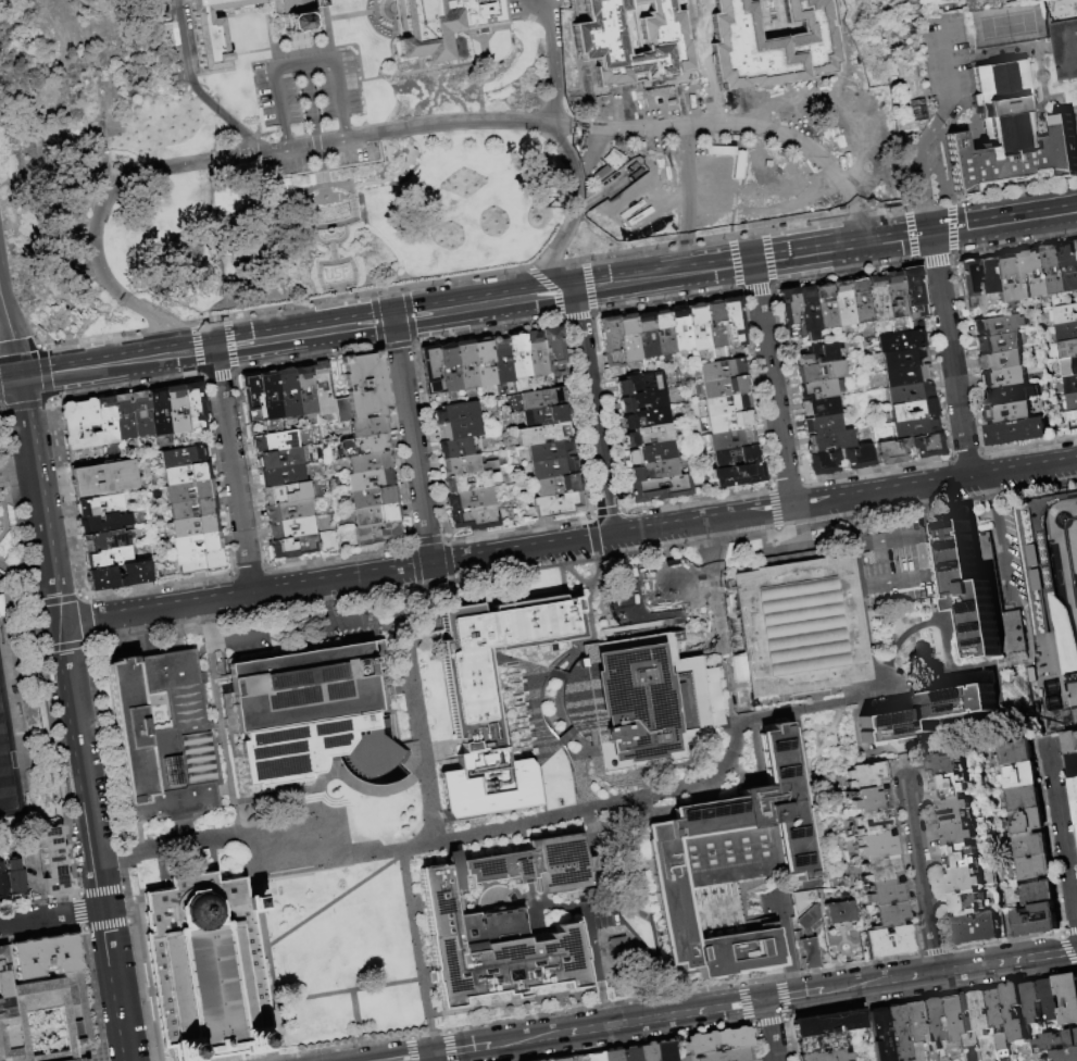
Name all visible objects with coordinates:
building: (915, 0)
building: (325, 3)
parking lot: (513, 11)
road: (504, 14)
road: (350, 15)
road: (378, 20)
building: (441, 24)
road: (697, 25)
park: (1007, 25)
road: (327, 29)
road: (492, 30)
building: (802, 33)
building: (212, 36)
parking lot: (598, 38)
road: (598, 38)
road: (183, 40)
road: (661, 40)
parking lot: (662, 40)
road: (267, 43)
road: (742, 47)
road: (355, 49)
building: (1066, 49)
road: (389, 51)
road: (486, 52)
road: (230, 53)
road: (1036, 55)
road: (948, 59)
road: (957, 59)
road: (552, 62)
road: (419, 63)
road: (301, 64)
road: (412, 72)
road: (483, 82)
parking lot: (306, 88)
road: (337, 88)
road: (812, 88)
road: (479, 97)
road: (277, 98)
road: (669, 107)
road: (481, 115)
road: (421, 116)
road: (751, 116)
road: (224, 117)
road: (310, 117)
road: (1076, 121)
road: (934, 122)
road: (342, 128)
road: (604, 130)
building: (1010, 134)
road: (303, 135)
road: (284, 137)
building: (611, 159)
road: (916, 161)
road: (322, 184)
road: (322, 186)
road: (1012, 189)
road: (105, 199)
road: (925, 204)
road: (572, 211)
road: (326, 225)
traffic signals: (930, 233)
road: (905, 236)
road: (334, 261)
road: (334, 262)
building: (1070, 264)
road: (686, 267)
road: (735, 267)
building: (1056, 270)
building: (1039, 273)
building: (1022, 275)
building: (986, 276)
building: (1004, 278)
building: (969, 283)
road: (337, 285)
road: (338, 288)
road: (503, 291)
building: (912, 294)
building: (894, 296)
building: (877, 299)
building: (860, 300)
building: (842, 303)
building: (825, 305)
road: (341, 307)
traffic signals: (391, 310)
building: (790, 313)
building: (807, 313)
building: (1066, 314)
road: (342, 317)
building: (732, 322)
building: (715, 324)
building: (999, 325)
building: (698, 327)
building: (679, 328)
building: (662, 332)
building: (1066, 332)
traffic signals: (395, 333)
road: (378, 335)
building: (644, 335)
road: (10, 337)
building: (628, 338)
road: (209, 339)
building: (902, 340)
building: (611, 342)
building: (1000, 342)
road: (20, 347)
road: (43, 347)
building: (1069, 349)
building: (553, 352)
building: (818, 354)
building: (536, 355)
road: (949, 355)
building: (517, 357)
building: (903, 358)
building: (500, 360)
road: (75, 361)
building: (1000, 361)
building: (483, 363)
building: (465, 364)
building: (448, 367)
building: (1069, 367)
road: (32, 370)
building: (430, 370)
building: (721, 370)
building: (818, 372)
road: (48, 374)
road: (9, 376)
traffic signals: (18, 376)
building: (906, 376)
building: (1003, 378)
building: (637, 382)
road: (771, 383)
building: (1070, 385)
building: (725, 387)
building: (362, 388)
building: (322, 389)
building: (819, 389)
building: (304, 391)
building: (909, 394)
building: (287, 395)
building: (1010, 395)
building: (270, 397)
building: (252, 398)
building: (537, 400)
building: (639, 400)
road: (50, 402)
building: (1072, 402)
road: (24, 404)
building: (726, 404)
building: (195, 408)
road: (590, 408)
building: (819, 408)
road: (1, 409)
building: (176, 410)
building: (913, 410)
building: (159, 412)
building: (456, 413)
building: (1009, 413)
building: (139, 414)
building: (544, 416)
building: (123, 417)
building: (642, 417)
building: (1073, 420)
building: (107, 422)
building: (730, 422)
building: (80, 425)
building: (822, 425)
building: (368, 427)
building: (915, 427)
building: (459, 429)
building: (1016, 432)
building: (543, 434)
building: (648, 436)
road: (411, 437)
building: (731, 439)
building: (276, 441)
building: (831, 441)
building: (363, 446)
building: (927, 446)
building: (454, 448)
building: (550, 451)
building: (891, 451)
building: (650, 453)
building: (183, 457)
building: (736, 457)
building: (857, 457)
building: (280, 459)
building: (371, 462)
building: (823, 463)
road: (231, 466)
building: (465, 466)
building: (553, 469)
road: (15, 470)
building: (653, 471)
road: (221, 473)
building: (188, 474)
building: (738, 475)
building: (283, 476)
building: (104, 478)
building: (371, 480)
building: (469, 482)
road: (934, 484)
building: (556, 485)
building: (660, 488)
building: (189, 491)
building: (287, 492)
road: (774, 494)
road: (13, 497)
building: (374, 498)
road: (37, 500)
road: (67, 500)
building: (468, 500)
building: (99, 505)
building: (558, 505)
road: (926, 507)
building: (193, 509)
building: (289, 510)
road: (1, 511)
road: (749, 512)
building: (376, 515)
building: (474, 519)
road: (847, 519)
building: (102, 524)
building: (193, 526)
road: (660, 527)
building: (292, 528)
building: (378, 533)
road: (997, 537)
building: (104, 541)
building: (198, 544)
building: (295, 547)
road: (925, 553)
road: (715, 558)
building: (108, 559)
building: (200, 562)
road: (855, 565)
road: (936, 572)
road: (18, 574)
building: (117, 576)
road: (335, 579)
park: (1062, 584)
road: (28, 592)
building: (982, 594)
road: (85, 596)
road: (57, 600)
road: (706, 600)
road: (323, 602)
road: (627, 609)
road: (209, 620)
road: (345, 620)
building: (893, 620)
road: (935, 620)
road: (87, 621)
building: (800, 625)
road: (34, 626)
building: (877, 635)
road: (239, 636)
building: (935, 642)
road: (63, 646)
building: (926, 646)
road: (546, 669)
building: (473, 696)
road: (215, 701)
building: (649, 702)
road: (414, 704)
building: (927, 713)
building: (313, 714)
road: (751, 721)
building: (166, 738)
building: (1070, 742)
road: (104, 749)
building: (1016, 752)
building: (944, 762)
building: (1073, 764)
road: (80, 765)
road: (55, 772)
park: (5, 773)
building: (1019, 775)
building: (867, 777)
building: (486, 784)
building: (948, 787)
building: (1074, 788)
road: (311, 789)
building: (1023, 798)
building: (872, 801)
road: (616, 803)
building: (953, 810)
building: (1075, 811)
road: (189, 821)
building: (1026, 822)
building: (874, 823)
building: (957, 833)
road: (1061, 834)
road: (224, 840)
building: (1031, 845)
building: (877, 847)
road: (165, 850)
building: (961, 854)
road: (247, 856)
building: (52, 861)
building: (528, 866)
building: (729, 867)
building: (1035, 867)
building: (882, 869)
road: (124, 872)
road: (922, 877)
building: (15, 878)
building: (965, 878)
building: (3, 884)
road: (102, 890)
building: (1039, 891)
building: (884, 893)
road: (76, 895)
road: (334, 900)
building: (803, 900)
road: (37, 902)
building: (967, 902)
road: (128, 903)
road: (76, 912)
building: (837, 912)
road: (51, 915)
road: (586, 915)
building: (888, 915)
building: (1039, 920)
building: (811, 921)
road: (108, 925)
building: (976, 928)
road: (80, 929)
road: (414, 932)
road: (1072, 932)
road: (1063, 934)
road: (39, 935)
building: (889, 943)
road: (1006, 943)
road: (260, 944)
road: (785, 947)
building: (493, 949)
road: (1069, 950)
road: (937, 952)
building: (806, 953)
building: (46, 957)
building: (205, 969)
road: (761, 979)
road: (115, 984)
road: (142, 990)
road: (578, 993)
road: (92, 995)
road: (321, 996)
building: (42, 997)
building: (1068, 998)
building: (1042, 1000)
road: (736, 1006)
road: (353, 1008)
road: (471, 1009)
building: (982, 1012)
building: (1017, 1012)
building: (965, 1016)
road: (523, 1018)
building: (1000, 1018)
building: (948, 1019)
building: (913, 1022)
building: (827, 1024)
building: (931, 1027)
road: (768, 1031)
road: (429, 1032)
road: (439, 1032)
building: (897, 1033)
road: (419, 1035)
building: (879, 1036)
road: (386, 1040)
building: (1056, 1040)
building: (717, 1041)
road: (360, 1043)
building: (822, 1044)
road: (451, 1047)
road: (413, 1050)
building: (665, 1050)
road: (315, 1051)
building: (648, 1052)
building: (612, 1054)
building: (630, 1054)
building: (1065, 1054)
building: (728, 1056)
building: (594, 1057)
building: (827, 1057)
road: (430, 1058)
building: (577, 1058)
building: (561, 1059)
road: (264, 1060)
building: (548, 1060)

